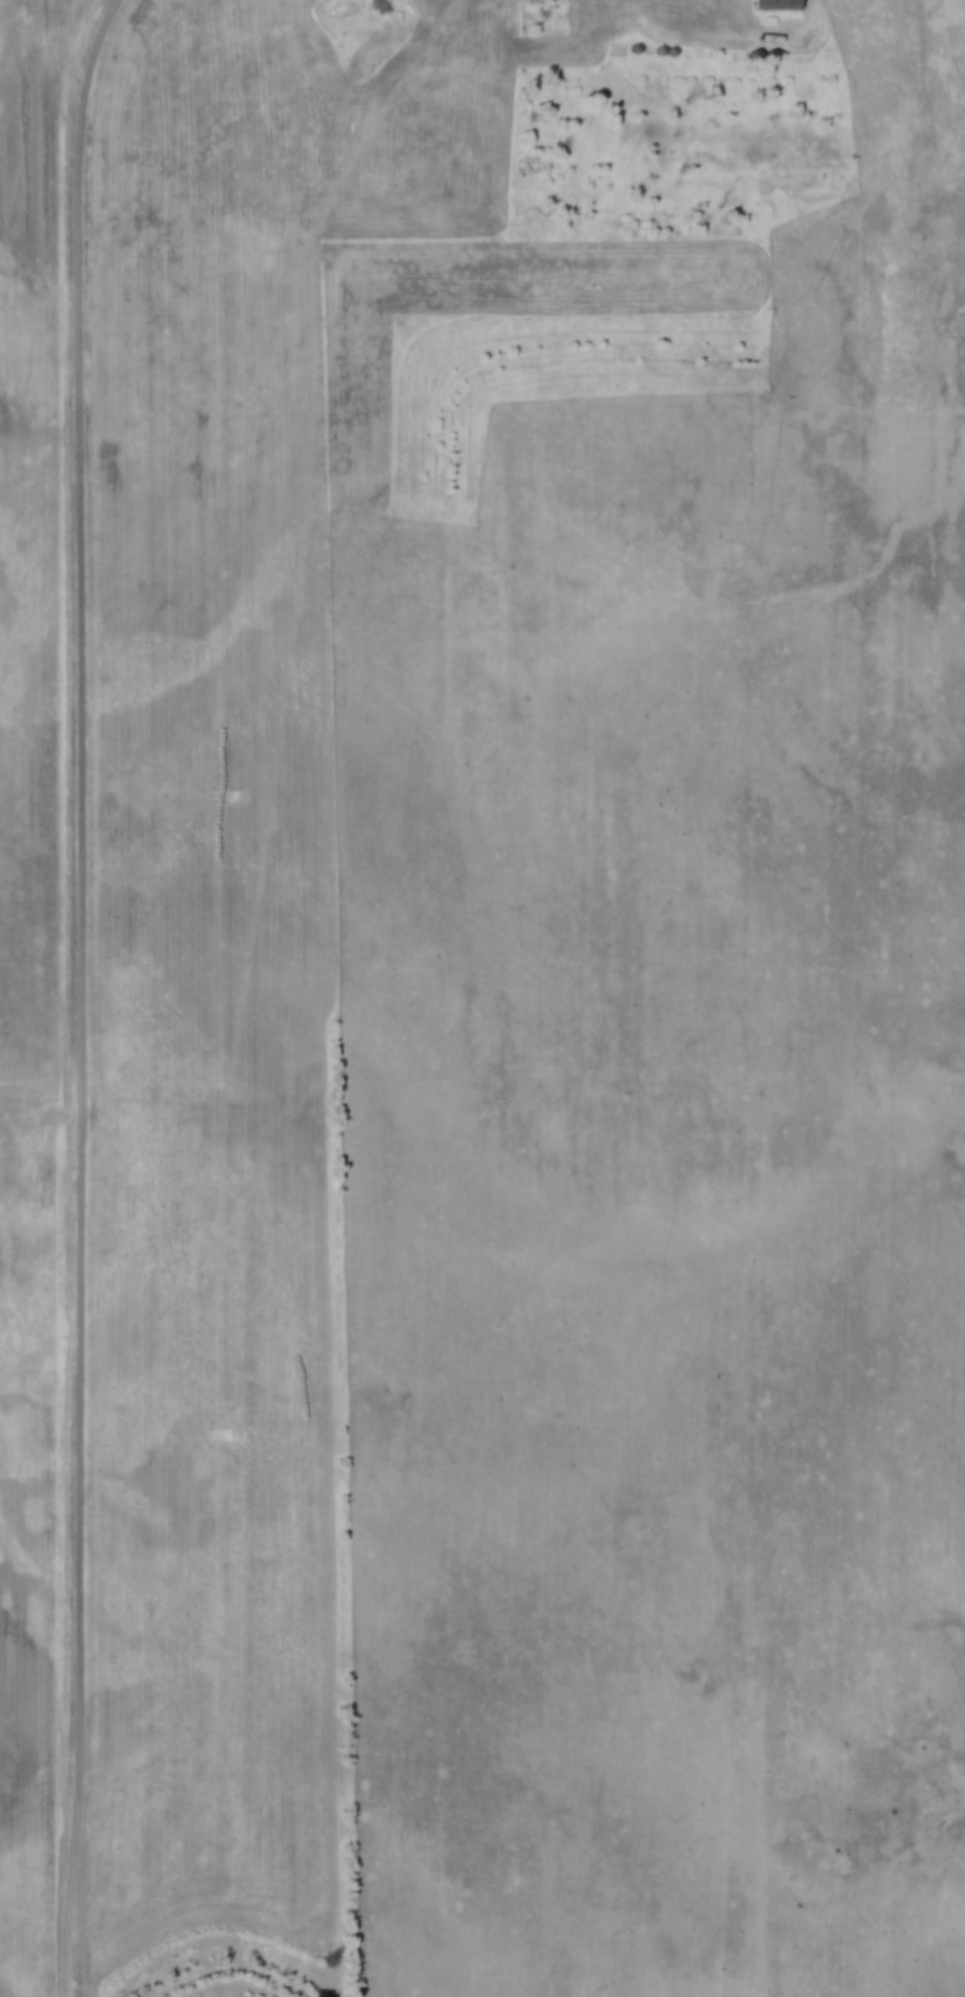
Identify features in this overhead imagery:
building: (774, 5)
building: (742, 24)
building: (617, 48)
building: (603, 78)
silo: (603, 78)
building: (627, 79)
silo: (627, 79)
building: (640, 80)
silo: (640, 80)
building: (722, 85)
silo: (722, 85)
building: (740, 86)
silo: (740, 86)
road: (82, 995)
road: (41, 1115)

